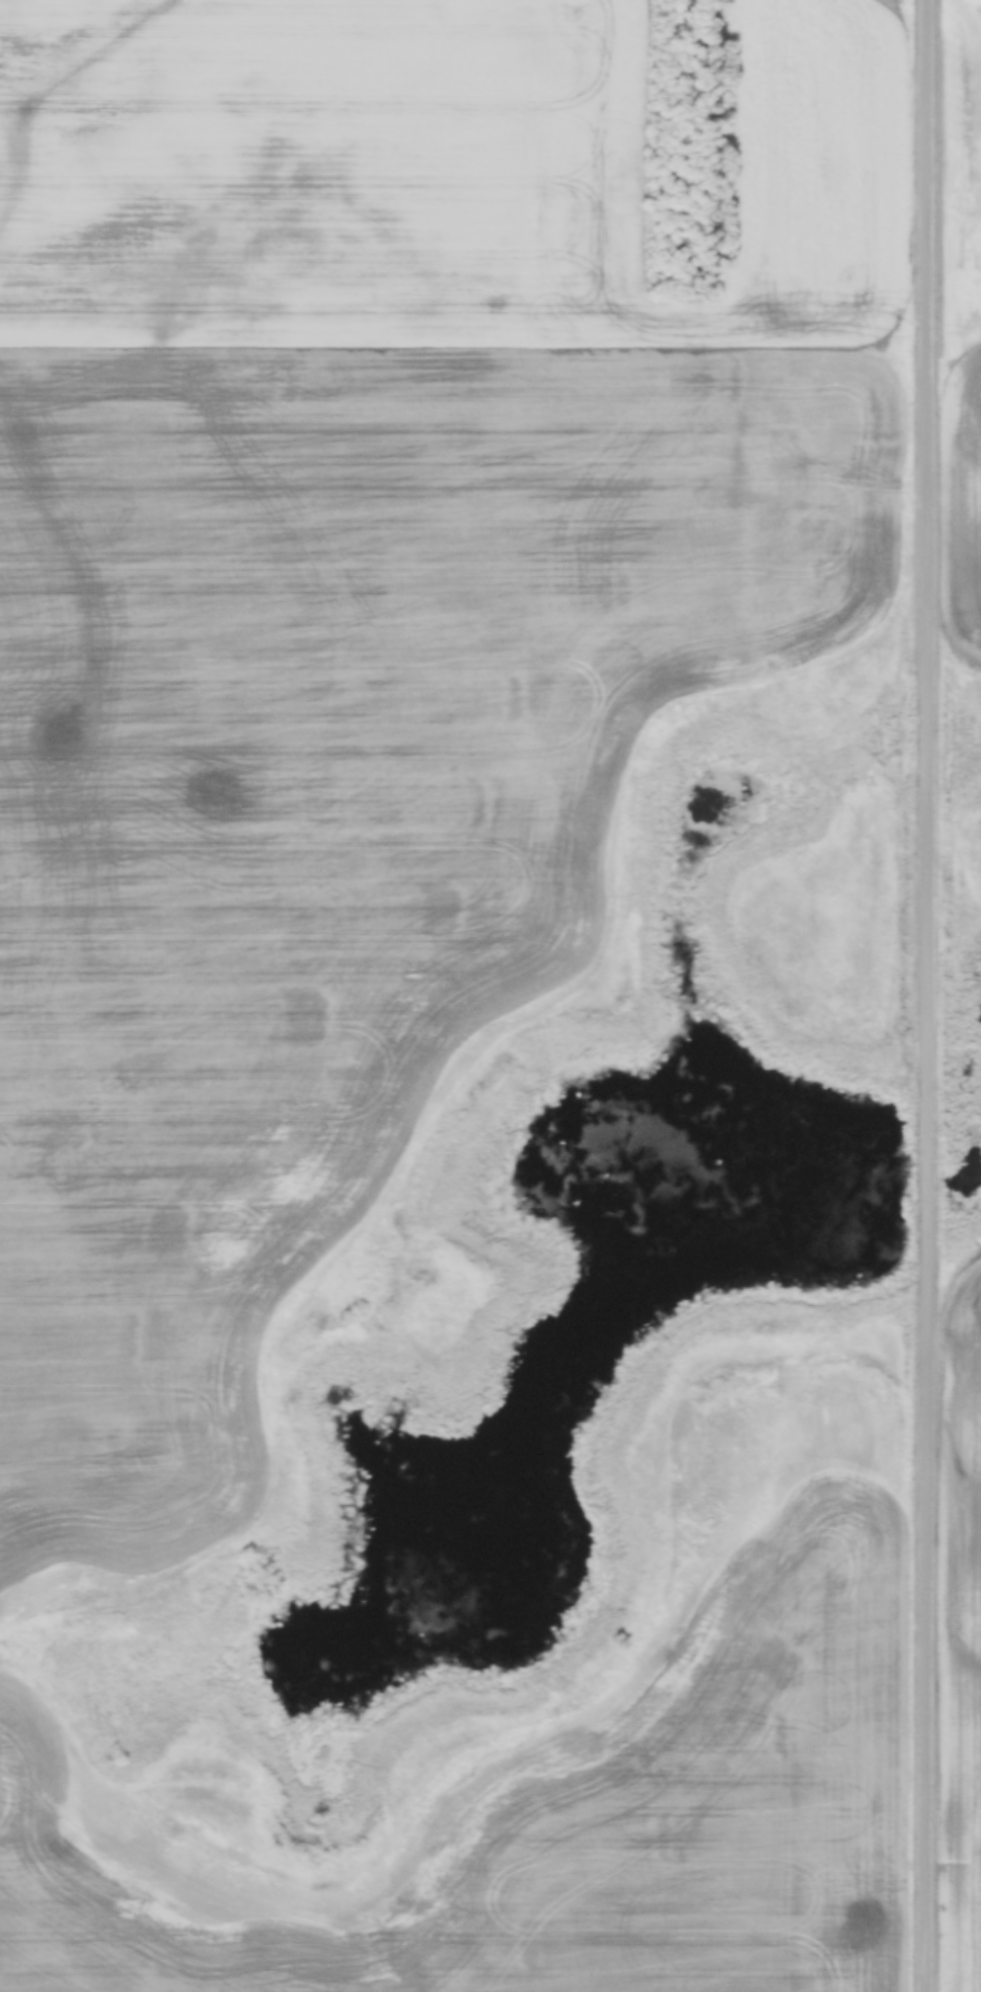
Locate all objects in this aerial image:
road: (925, 996)

